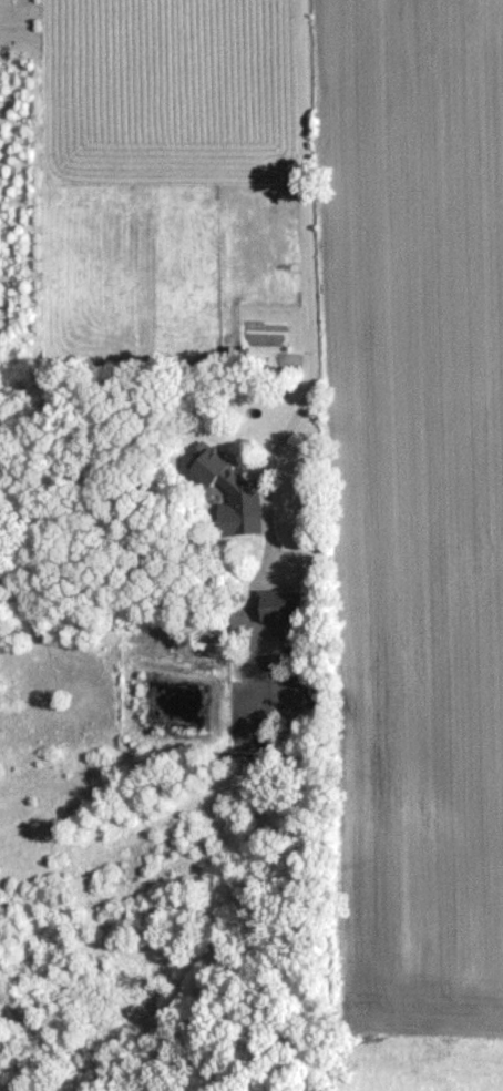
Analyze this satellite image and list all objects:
road: (302, 228)
building: (245, 497)
building: (283, 603)

